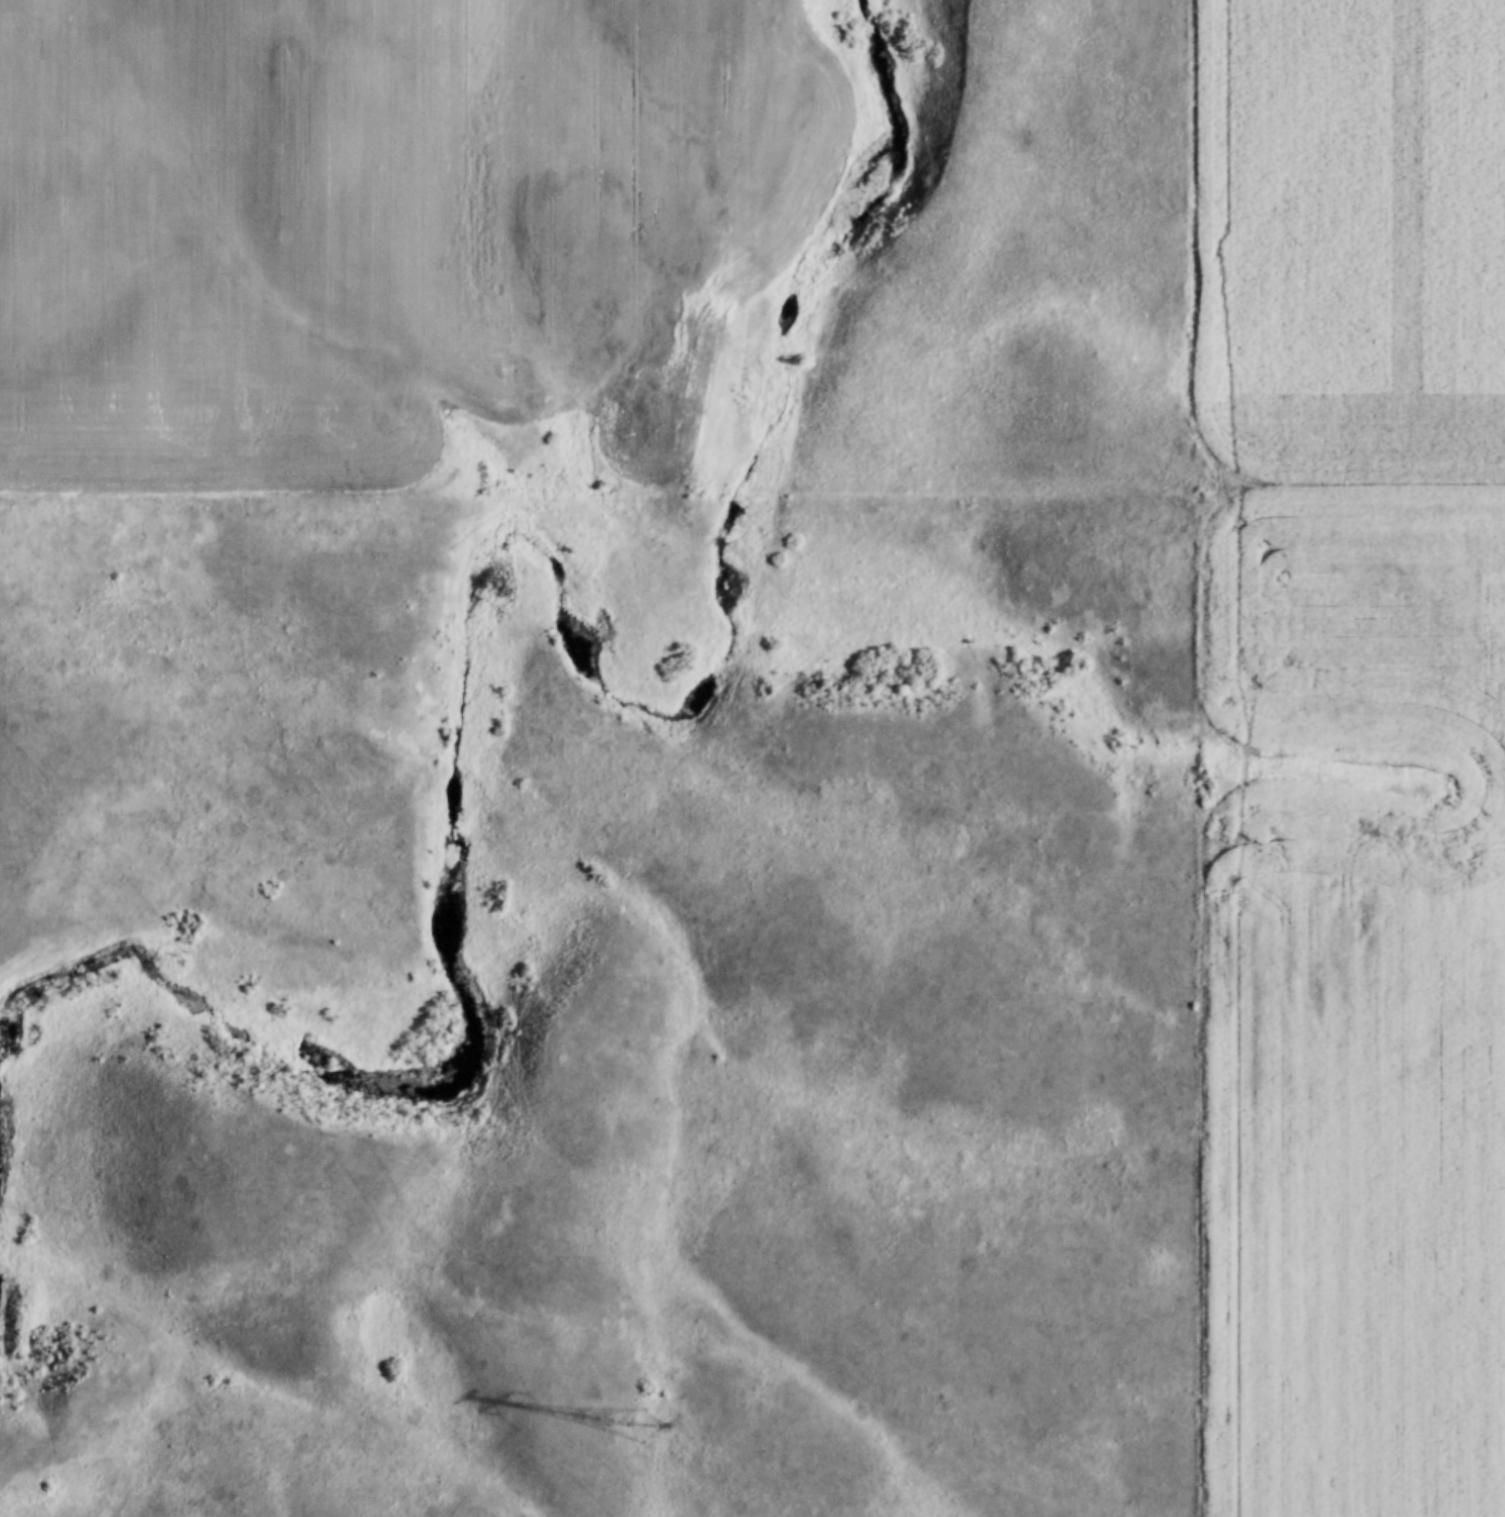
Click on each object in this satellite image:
power tower: (642, 1432)

